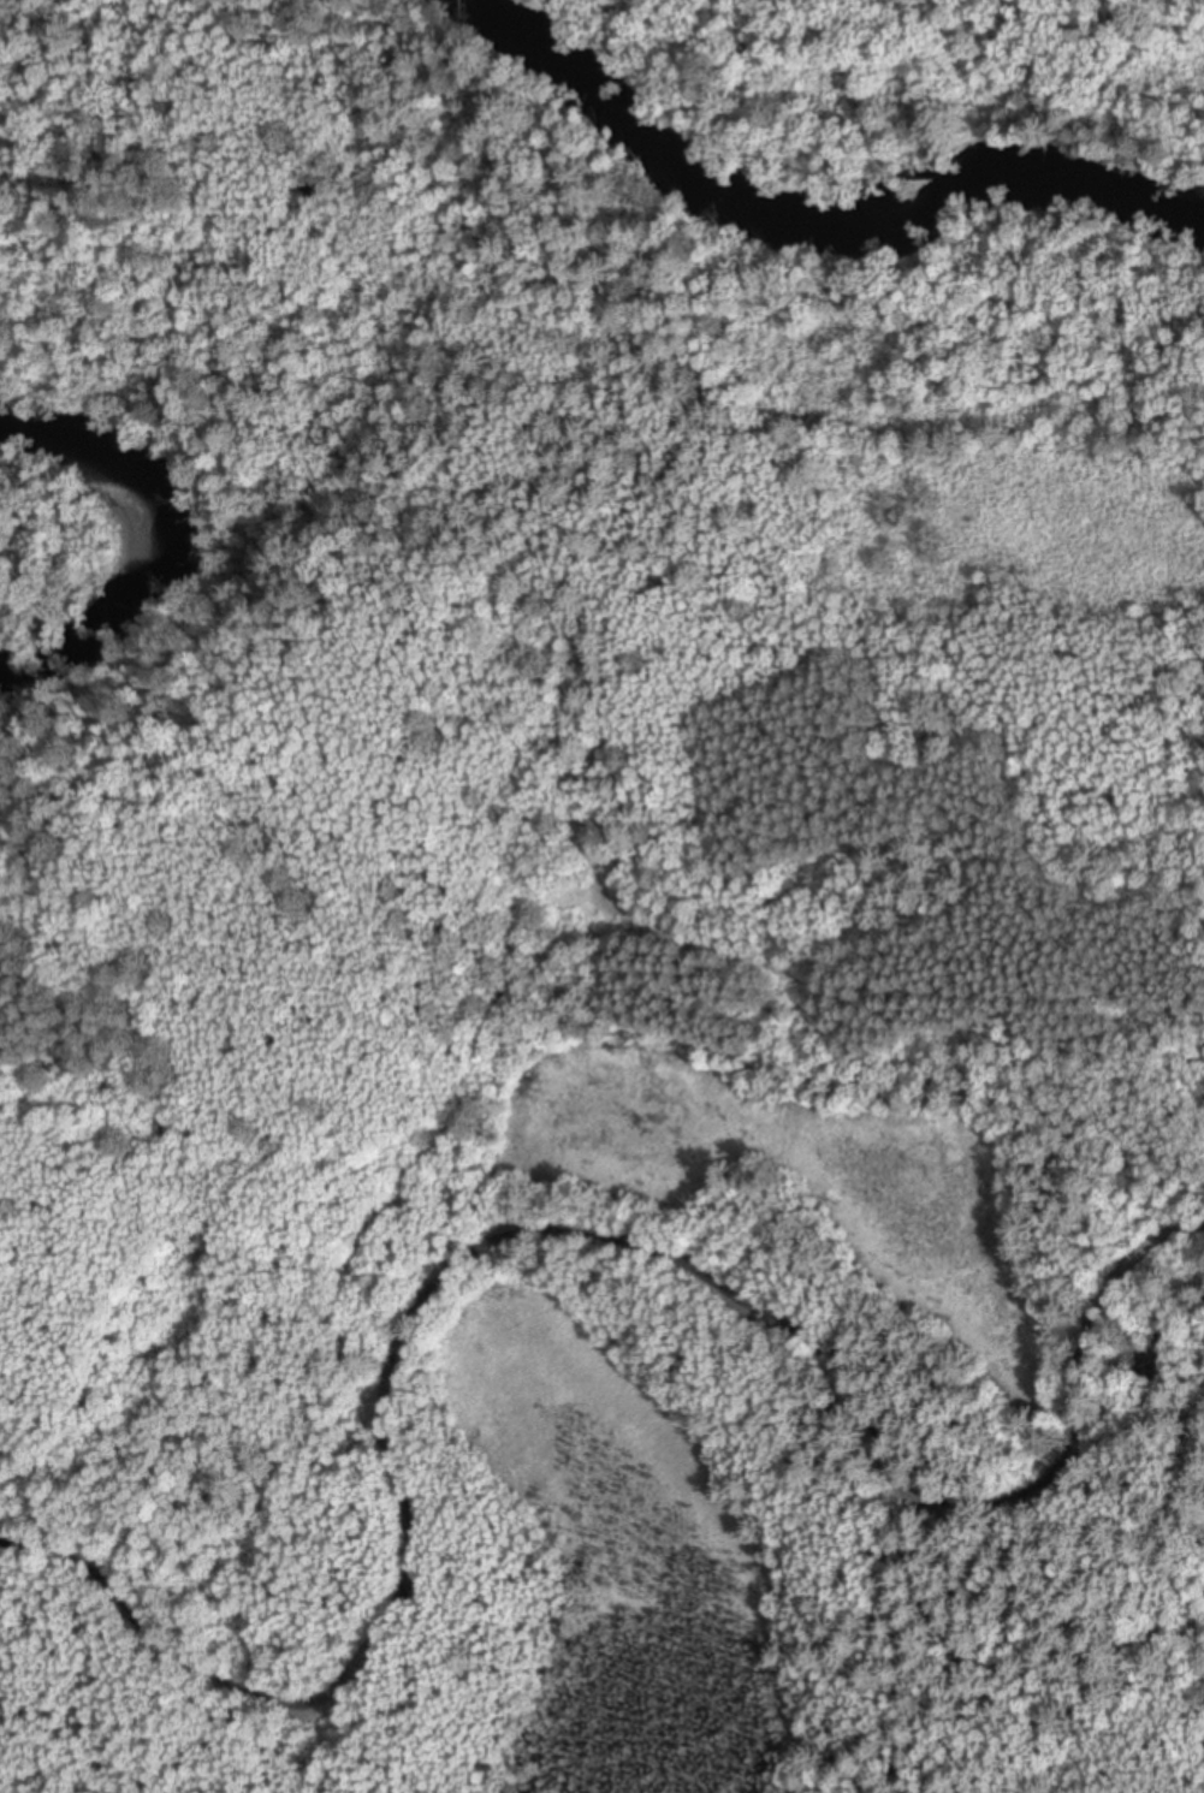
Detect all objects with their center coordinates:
river: (815, 218)
river: (154, 546)

